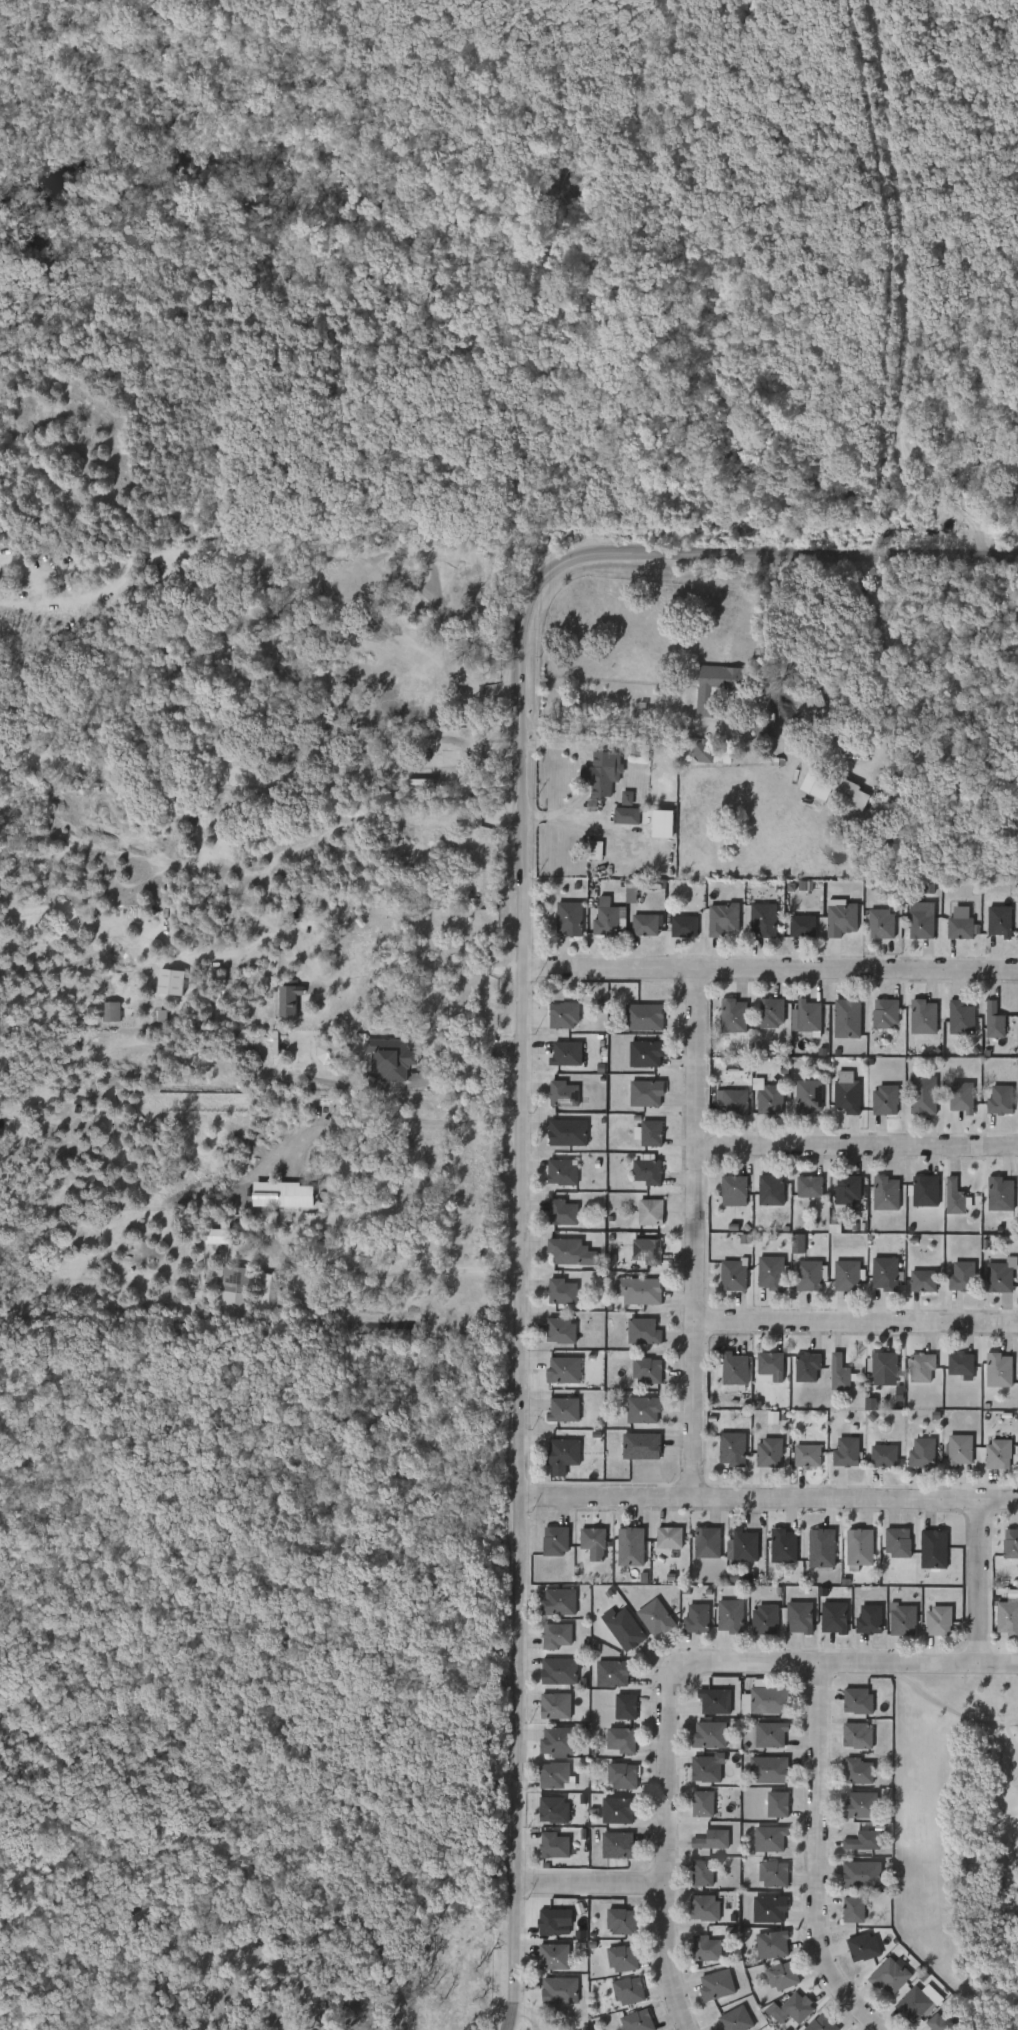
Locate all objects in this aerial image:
road: (908, 299)
building: (1017, 510)
building: (717, 686)
building: (805, 708)
building: (762, 727)
road: (609, 728)
road: (558, 747)
building: (602, 772)
road: (588, 775)
building: (841, 799)
building: (625, 810)
road: (562, 812)
building: (618, 821)
building: (657, 821)
building: (644, 883)
building: (568, 918)
building: (610, 918)
building: (724, 918)
building: (763, 919)
building: (843, 919)
building: (1001, 921)
building: (963, 923)
building: (645, 924)
building: (883, 924)
building: (922, 924)
building: (803, 925)
building: (683, 926)
building: (991, 926)
building: (1017, 928)
building: (873, 929)
building: (951, 929)
building: (794, 931)
road: (770, 969)
road: (341, 980)
building: (163, 987)
building: (280, 1005)
building: (770, 1012)
building: (887, 1014)
building: (562, 1015)
building: (733, 1015)
building: (102, 1017)
building: (646, 1017)
building: (811, 1017)
building: (925, 1017)
building: (849, 1018)
building: (963, 1018)
building: (996, 1021)
building: (800, 1022)
building: (914, 1022)
building: (953, 1023)
building: (1017, 1024)
building: (986, 1026)
building: (568, 1053)
building: (645, 1053)
road: (521, 1060)
road: (417, 1087)
building: (644, 1093)
building: (848, 1093)
building: (562, 1094)
building: (809, 1095)
building: (923, 1095)
building: (838, 1097)
building: (961, 1097)
building: (770, 1099)
building: (887, 1100)
building: (1000, 1100)
building: (734, 1101)
building: (953, 1102)
building: (876, 1105)
building: (1017, 1109)
building: (568, 1132)
building: (651, 1134)
road: (854, 1150)
building: (648, 1171)
building: (563, 1172)
building: (736, 1187)
building: (811, 1187)
building: (772, 1190)
building: (847, 1190)
building: (927, 1191)
building: (801, 1192)
building: (888, 1193)
building: (1002, 1194)
building: (725, 1195)
building: (957, 1197)
building: (877, 1198)
building: (992, 1199)
building: (945, 1202)
building: (649, 1212)
building: (564, 1213)
building: (554, 1217)
road: (690, 1233)
building: (789, 1248)
building: (569, 1251)
building: (646, 1251)
building: (771, 1273)
building: (885, 1273)
building: (736, 1275)
building: (808, 1275)
building: (848, 1276)
building: (964, 1277)
building: (1002, 1278)
building: (1017, 1279)
building: (924, 1281)
building: (233, 1283)
building: (914, 1286)
building: (640, 1290)
building: (560, 1292)
building: (256, 1297)
road: (852, 1325)
building: (559, 1330)
building: (643, 1331)
building: (772, 1362)
building: (963, 1363)
building: (884, 1364)
building: (809, 1366)
building: (924, 1366)
building: (648, 1369)
building: (1001, 1369)
building: (562, 1370)
building: (735, 1370)
building: (953, 1370)
building: (762, 1371)
building: (798, 1372)
building: (913, 1372)
building: (1017, 1372)
building: (842, 1373)
building: (990, 1375)
building: (638, 1376)
building: (831, 1378)
building: (565, 1410)
building: (642, 1410)
building: (640, 1447)
building: (732, 1449)
building: (960, 1450)
building: (849, 1452)
building: (562, 1453)
building: (771, 1453)
building: (924, 1453)
building: (998, 1454)
building: (809, 1455)
building: (885, 1455)
building: (1016, 1456)
building: (838, 1457)
building: (913, 1458)
building: (799, 1460)
building: (875, 1460)
road: (768, 1498)
building: (669, 1538)
building: (554, 1541)
building: (709, 1542)
building: (900, 1542)
building: (592, 1543)
building: (1011, 1544)
building: (632, 1546)
building: (699, 1547)
building: (742, 1547)
building: (782, 1547)
building: (862, 1547)
building: (889, 1547)
building: (821, 1549)
building: (935, 1549)
road: (980, 1581)
building: (1016, 1582)
building: (560, 1602)
building: (730, 1617)
building: (655, 1618)
building: (799, 1618)
building: (834, 1618)
building: (1008, 1618)
building: (696, 1620)
building: (764, 1620)
building: (869, 1621)
building: (903, 1621)
building: (938, 1621)
building: (626, 1629)
building: (558, 1635)
building: (560, 1671)
building: (613, 1672)
road: (673, 1682)
building: (767, 1698)
building: (717, 1701)
building: (860, 1701)
building: (556, 1706)
building: (625, 1706)
building: (770, 1734)
building: (711, 1735)
building: (857, 1735)
building: (624, 1740)
building: (559, 1741)
building: (613, 1744)
building: (708, 1769)
building: (768, 1769)
building: (858, 1770)
building: (697, 1773)
building: (556, 1775)
building: (624, 1775)
building: (704, 1803)
building: (777, 1804)
building: (860, 1804)
building: (695, 1808)
building: (618, 1809)
building: (769, 1809)
building: (555, 1810)
building: (772, 1838)
building: (711, 1839)
building: (865, 1841)
building: (553, 1845)
building: (617, 1845)
road: (819, 1856)
building: (702, 1872)
building: (775, 1874)
building: (864, 1874)
road: (591, 1884)
building: (706, 1907)
building: (772, 1909)
building: (853, 1910)
building: (554, 1921)
building: (623, 1921)
building: (775, 1944)
building: (864, 1947)
building: (705, 1948)
building: (555, 1957)
building: (623, 1958)
building: (784, 1976)
building: (892, 1977)
building: (716, 1985)
building: (561, 1990)
building: (630, 1990)
building: (914, 2003)
building: (799, 2008)
building: (736, 2019)
building: (636, 2021)
building: (944, 2021)
building: (823, 2024)

